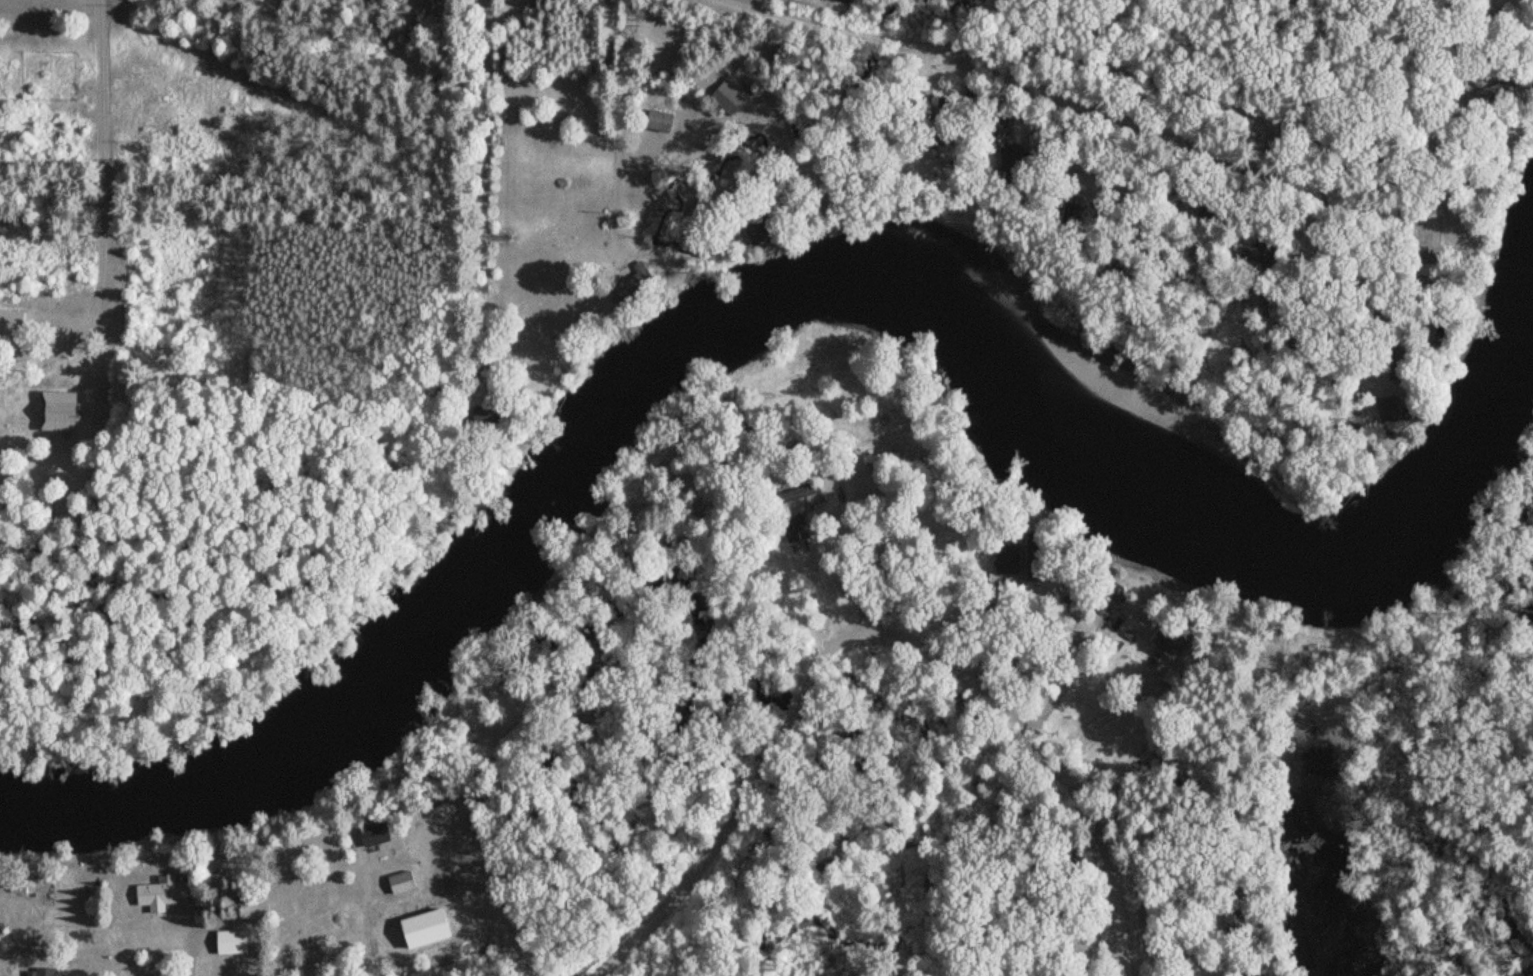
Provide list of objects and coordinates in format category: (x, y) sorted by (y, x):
road: (1385, 9)
road: (1500, 17)
road: (1449, 20)
road: (1097, 67)
building: (734, 95)
building: (664, 121)
road: (627, 138)
road: (802, 165)
building: (764, 230)
building: (645, 273)
river: (783, 295)
building: (13, 321)
building: (65, 411)
building: (810, 489)
building: (800, 527)
road: (872, 636)
building: (1181, 640)
road: (676, 751)
road: (658, 811)
building: (379, 832)
road: (541, 858)
building: (403, 882)
building: (35, 888)
building: (165, 892)
road: (486, 902)
building: (236, 941)
road: (253, 952)

